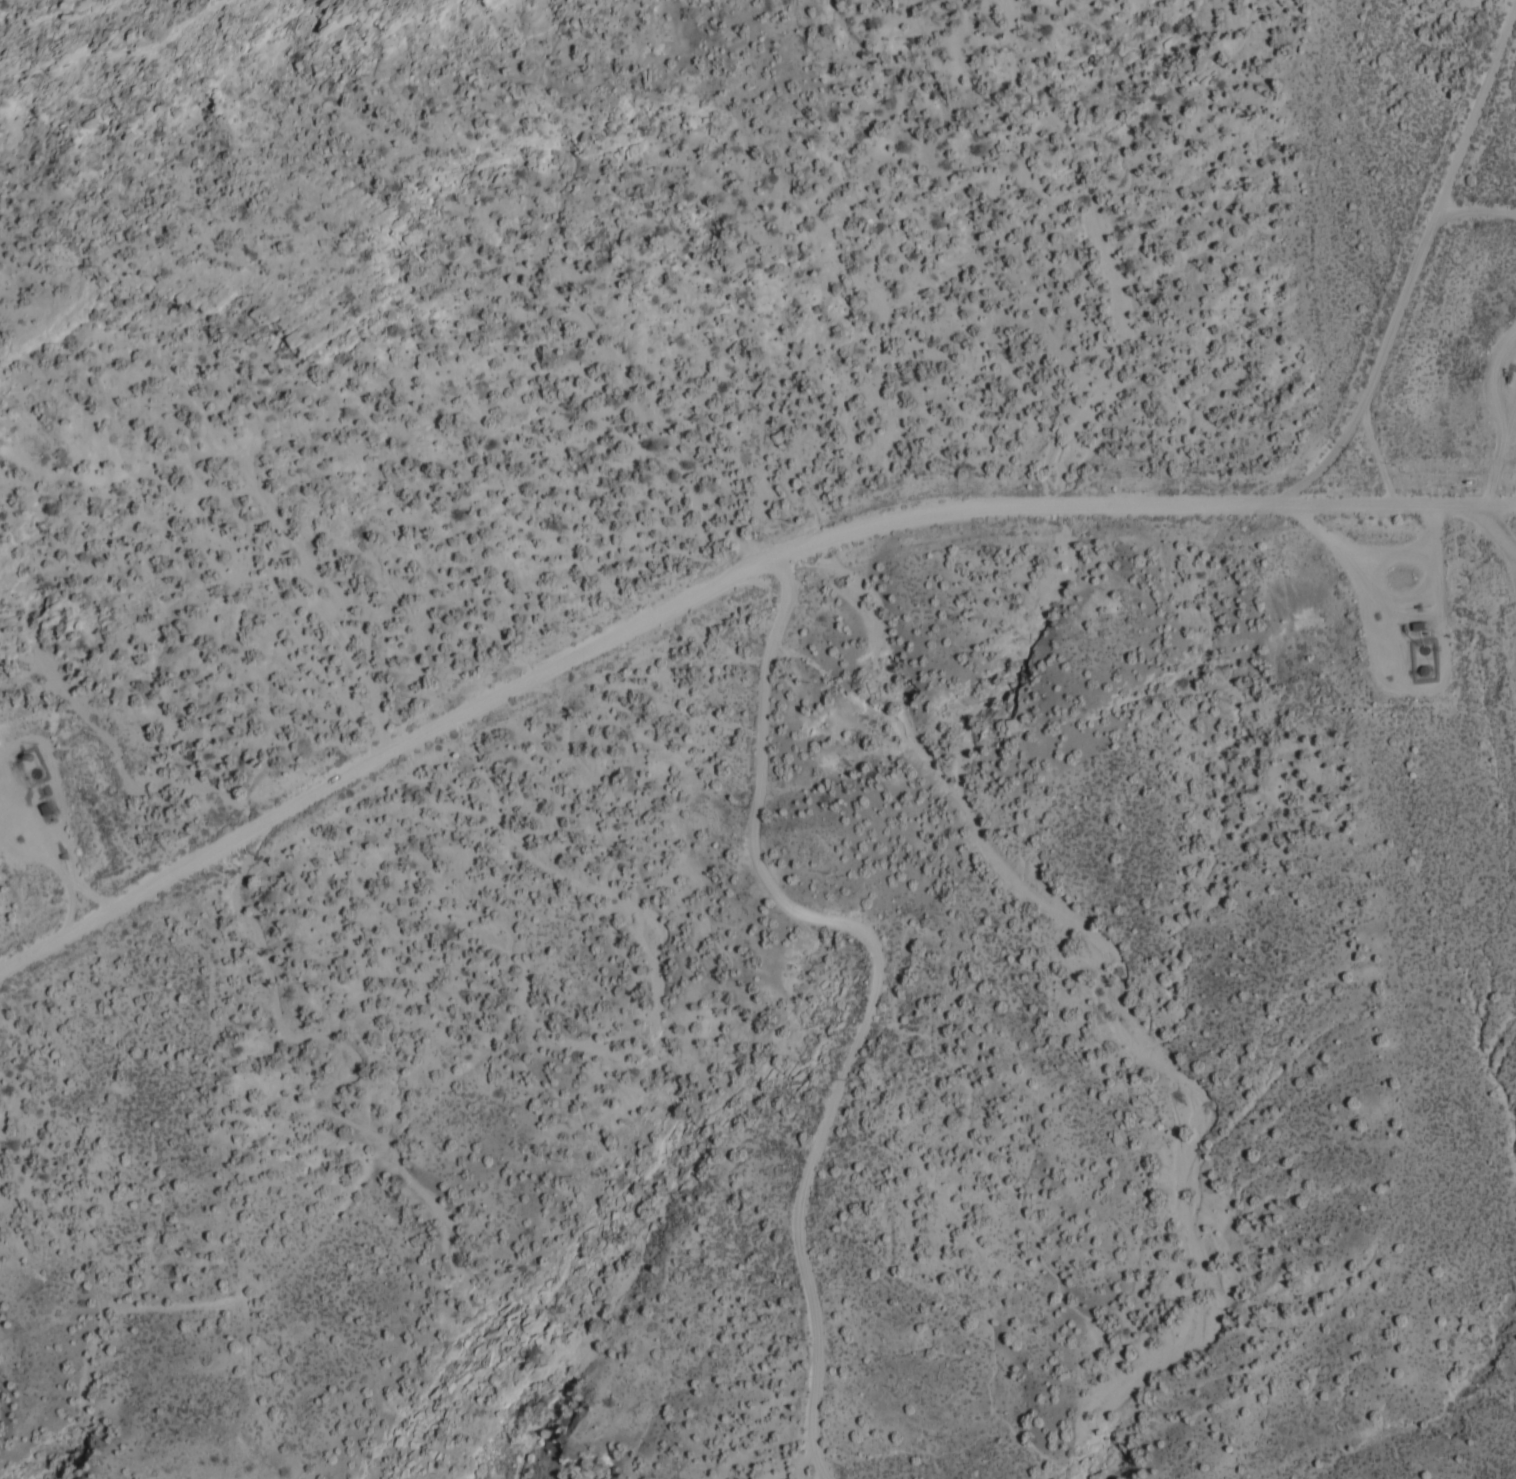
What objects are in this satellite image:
road: (1480, 210)
road: (1418, 275)
road: (1501, 379)
road: (1380, 452)
road: (1500, 501)
road: (1500, 522)
road: (702, 595)
road: (61, 831)
road: (880, 986)

